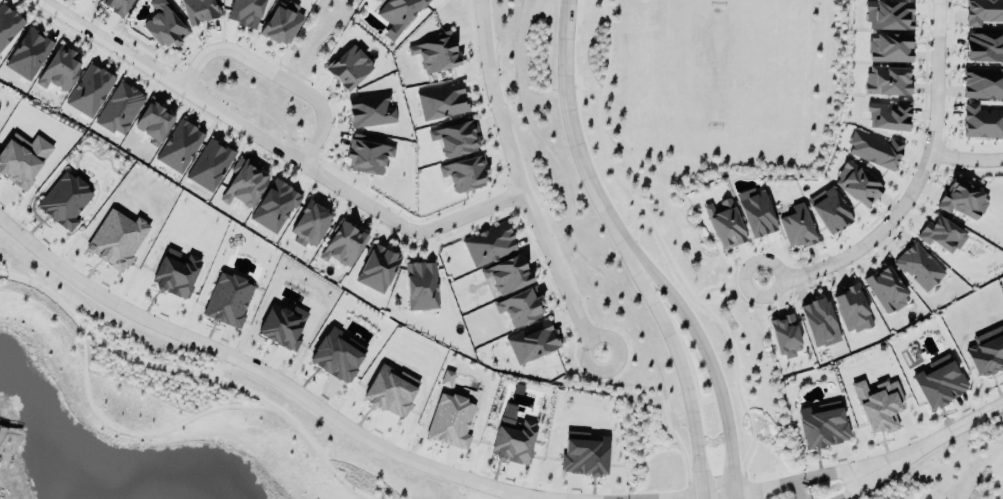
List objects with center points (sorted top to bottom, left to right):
building: (93, 0)
building: (115, 6)
building: (197, 11)
building: (983, 12)
building: (245, 13)
building: (398, 16)
building: (888, 16)
building: (281, 24)
building: (8, 26)
building: (163, 27)
building: (984, 48)
building: (889, 49)
building: (435, 54)
building: (27, 55)
building: (348, 68)
building: (58, 70)
road: (275, 75)
building: (887, 81)
building: (983, 84)
park: (708, 88)
building: (88, 92)
building: (441, 102)
building: (119, 110)
building: (370, 111)
building: (888, 118)
building: (982, 123)
building: (153, 124)
road: (574, 138)
building: (455, 140)
building: (179, 148)
road: (275, 148)
building: (874, 151)
building: (366, 157)
road: (964, 159)
building: (22, 160)
building: (209, 167)
building: (464, 175)
road: (519, 184)
building: (243, 185)
building: (857, 185)
road: (913, 185)
building: (962, 201)
building: (64, 202)
building: (274, 208)
building: (828, 211)
building: (756, 213)
building: (724, 225)
building: (309, 226)
building: (797, 227)
building: (941, 236)
building: (116, 240)
building: (342, 246)
building: (488, 246)
road: (666, 252)
road: (581, 255)
building: (919, 267)
building: (377, 270)
building: (175, 274)
building: (507, 276)
building: (421, 287)
road: (728, 287)
building: (885, 291)
building: (227, 301)
building: (519, 309)
building: (851, 310)
building: (819, 323)
building: (282, 327)
building: (785, 337)
building: (532, 343)
building: (987, 353)
building: (336, 358)
road: (216, 364)
road: (258, 367)
road: (712, 369)
road: (191, 374)
road: (683, 376)
building: (939, 383)
building: (388, 394)
building: (878, 406)
road: (998, 417)
building: (450, 422)
building: (822, 426)
road: (8, 433)
road: (1, 434)
road: (136, 435)
building: (513, 441)
road: (926, 445)
building: (584, 455)
road: (981, 467)
road: (823, 477)
road: (765, 489)
road: (799, 489)
road: (842, 490)
road: (703, 496)

